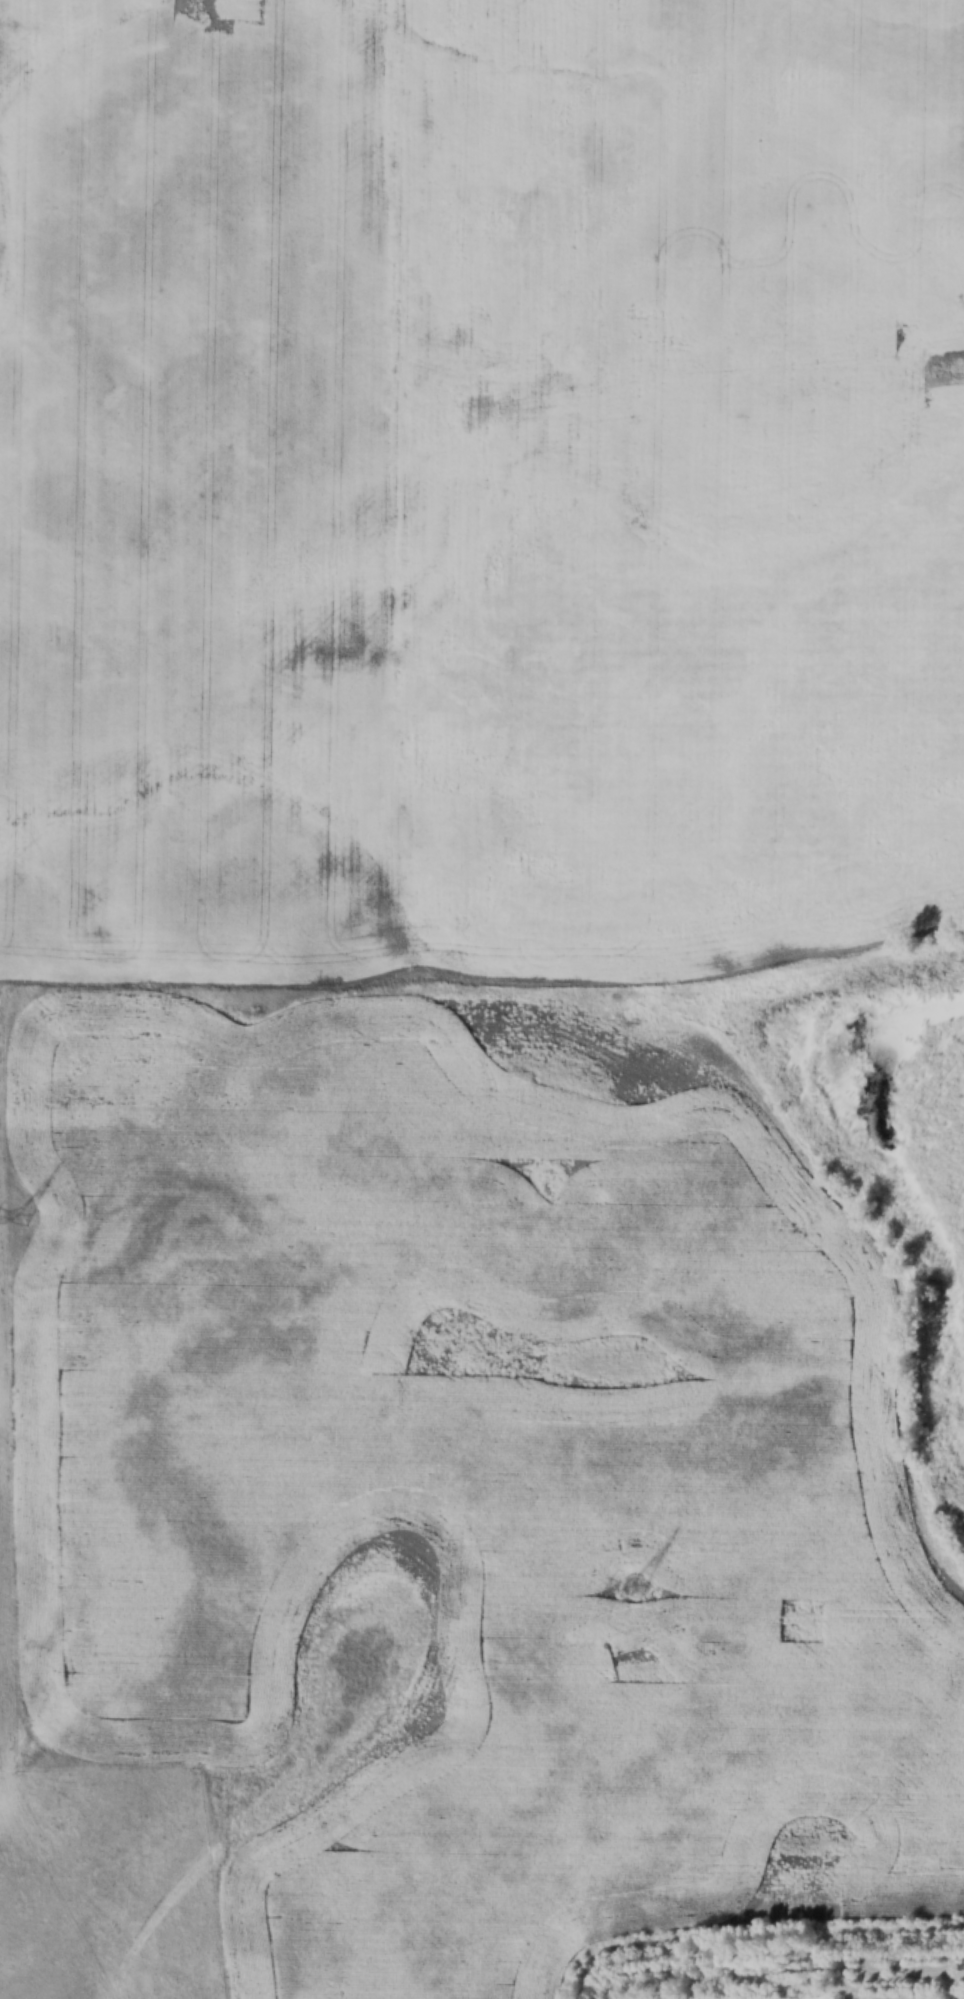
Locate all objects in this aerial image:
power tower: (29, 1202)
power tower: (635, 1585)

